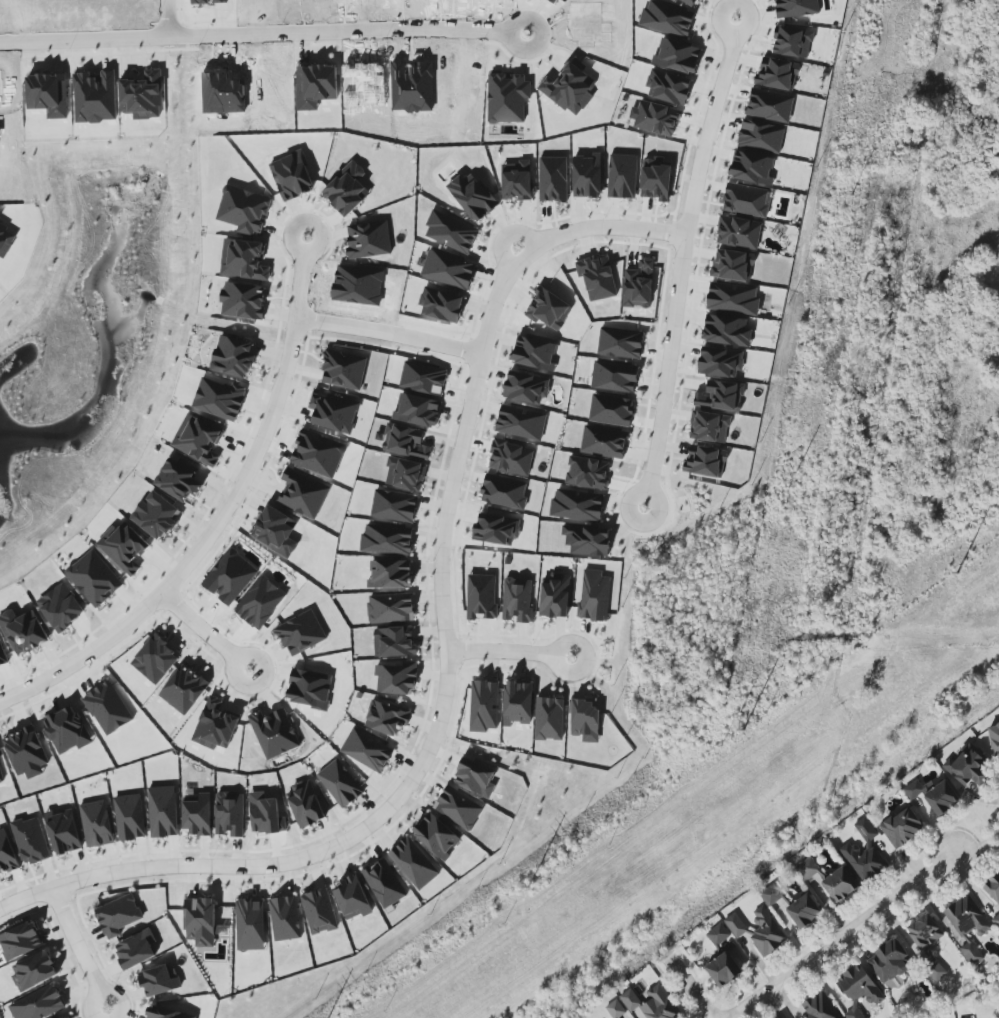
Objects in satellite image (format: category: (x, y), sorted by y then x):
building: (209, 1)
building: (553, 1)
building: (689, 1)
building: (796, 8)
building: (668, 18)
road: (257, 34)
building: (793, 42)
building: (678, 55)
building: (777, 74)
building: (316, 85)
building: (668, 87)
building: (569, 89)
building: (770, 105)
building: (657, 118)
road: (705, 124)
building: (761, 136)
building: (752, 167)
building: (622, 176)
building: (586, 177)
building: (553, 179)
building: (517, 180)
building: (656, 180)
building: (347, 189)
building: (473, 195)
building: (746, 200)
building: (244, 210)
building: (451, 232)
building: (738, 232)
building: (6, 239)
building: (368, 239)
building: (244, 260)
building: (733, 265)
building: (448, 270)
road: (299, 274)
building: (597, 277)
building: (639, 285)
building: (733, 298)
building: (243, 300)
building: (548, 308)
road: (388, 330)
building: (727, 330)
building: (620, 343)
building: (535, 353)
building: (233, 356)
building: (343, 369)
building: (614, 377)
building: (527, 386)
building: (721, 395)
building: (219, 399)
building: (417, 410)
building: (611, 410)
building: (709, 426)
building: (200, 440)
building: (405, 441)
building: (604, 441)
building: (511, 457)
building: (706, 461)
building: (588, 472)
building: (405, 474)
building: (504, 492)
building: (302, 494)
building: (394, 505)
building: (577, 505)
road: (445, 521)
building: (387, 539)
building: (587, 539)
road: (198, 548)
building: (124, 549)
building: (390, 574)
building: (94, 578)
building: (228, 580)
building: (555, 595)
building: (594, 595)
building: (481, 596)
building: (517, 599)
building: (260, 602)
building: (61, 607)
building: (390, 608)
road: (203, 628)
building: (300, 632)
building: (394, 642)
road: (509, 650)
building: (396, 678)
building: (310, 689)
building: (517, 703)
building: (484, 706)
building: (107, 708)
building: (387, 717)
building: (549, 718)
building: (585, 718)
building: (274, 732)
building: (994, 739)
building: (26, 750)
building: (367, 750)
building: (967, 766)
building: (1, 774)
building: (475, 777)
building: (340, 783)
building: (934, 795)
building: (305, 804)
building: (458, 808)
building: (163, 811)
building: (230, 813)
building: (265, 814)
building: (197, 815)
building: (129, 817)
building: (96, 823)
building: (902, 827)
building: (63, 831)
building: (436, 835)
road: (977, 835)
building: (31, 840)
building: (864, 853)
building: (7, 854)
building: (414, 862)
building: (807, 868)
building: (384, 883)
building: (839, 884)
building: (771, 895)
building: (352, 897)
building: (804, 910)
building: (319, 911)
building: (118, 915)
building: (285, 918)
building: (200, 921)
building: (250, 924)
building: (736, 925)
building: (967, 925)
building: (924, 931)
building: (766, 932)
building: (718, 934)
road: (843, 936)
building: (20, 940)
road: (79, 946)
building: (136, 949)
building: (890, 962)
building: (723, 969)
building: (34, 970)
building: (936, 970)
building: (159, 980)
building: (859, 985)
road: (689, 987)
building: (630, 999)
building: (39, 1003)
building: (659, 1004)
building: (818, 1007)
building: (167, 1013)
building: (854, 1013)

